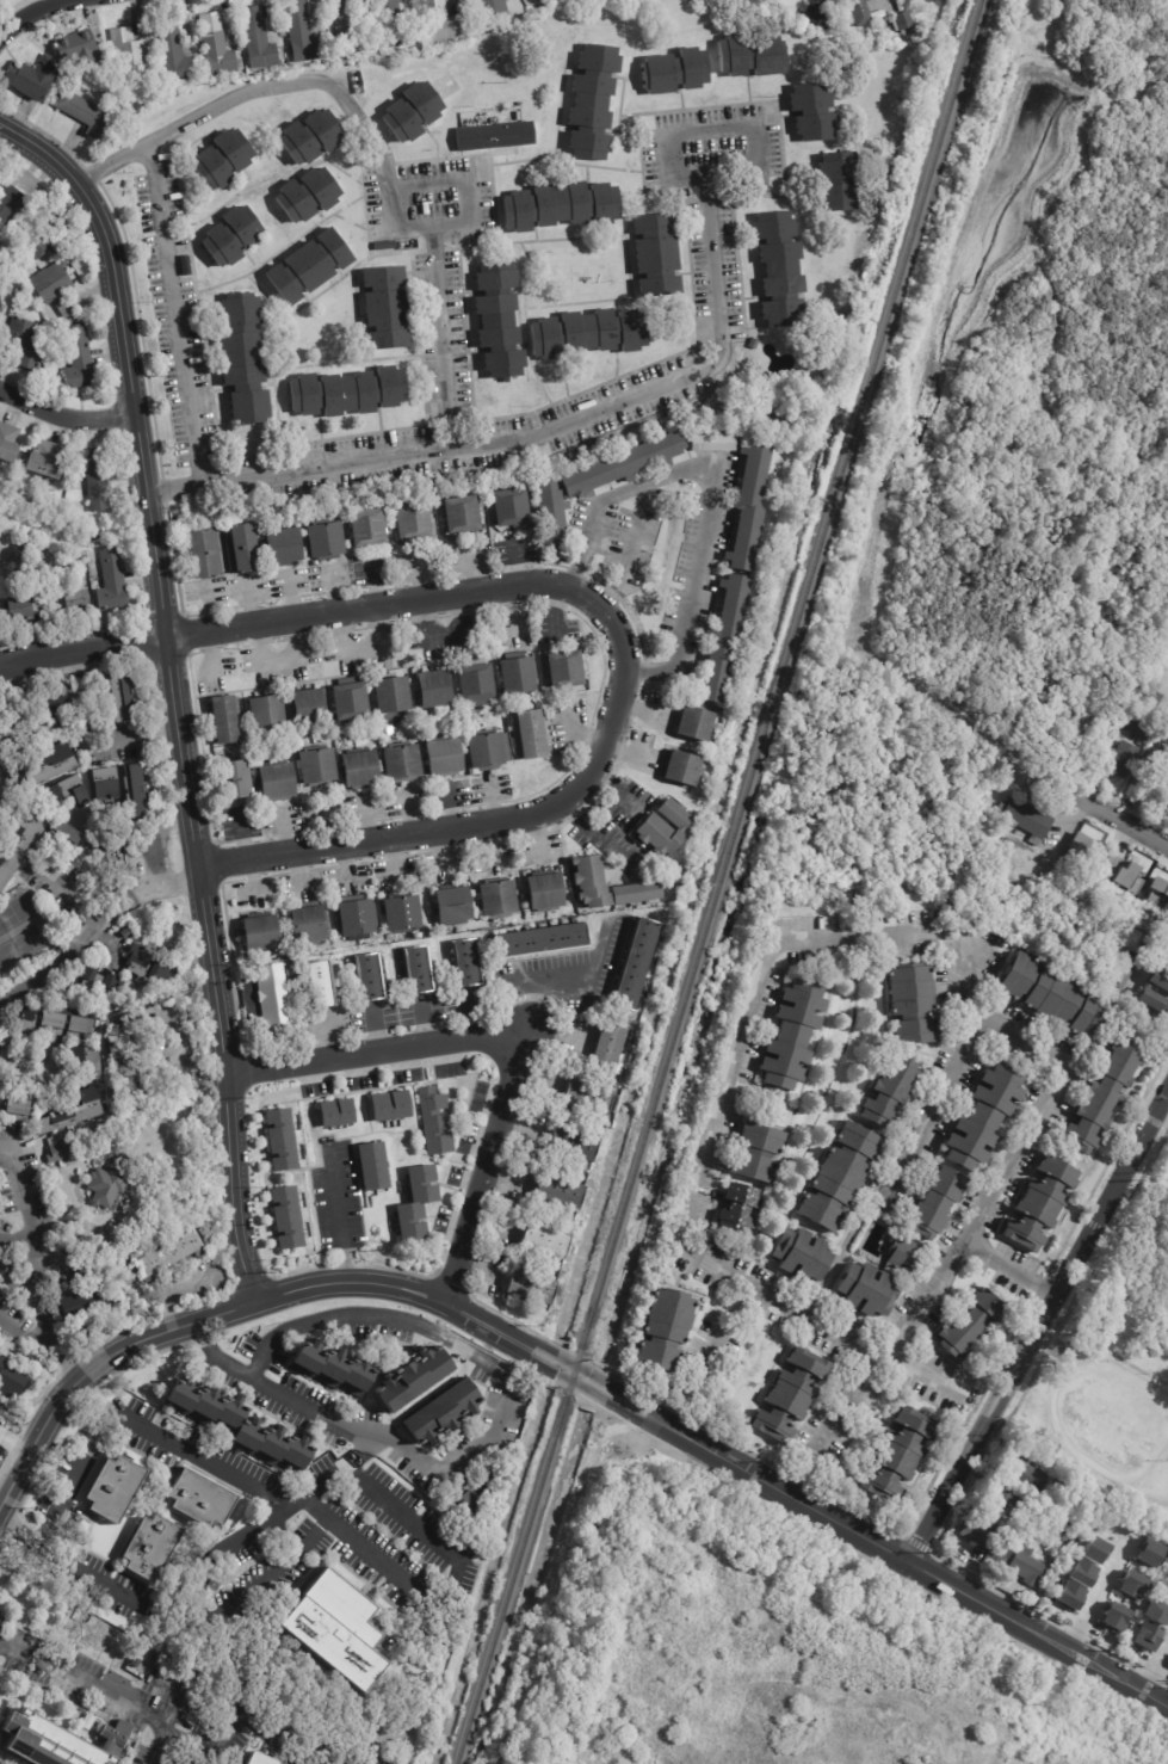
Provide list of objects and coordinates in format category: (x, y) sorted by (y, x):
building: (533, 0)
building: (488, 8)
building: (857, 11)
road: (29, 13)
building: (437, 21)
building: (389, 23)
building: (344, 26)
building: (913, 29)
building: (298, 31)
building: (254, 37)
building: (212, 43)
building: (234, 45)
building: (78, 48)
building: (125, 49)
building: (167, 49)
building: (749, 53)
building: (674, 70)
building: (30, 76)
building: (591, 101)
building: (412, 111)
building: (809, 113)
building: (84, 115)
road: (357, 116)
building: (493, 135)
building: (310, 136)
building: (221, 159)
building: (833, 183)
building: (307, 193)
building: (12, 205)
building: (561, 205)
building: (231, 235)
building: (36, 238)
building: (385, 245)
building: (654, 255)
building: (184, 265)
building: (309, 265)
building: (780, 269)
building: (55, 288)
road: (116, 296)
building: (1, 306)
building: (388, 308)
building: (496, 320)
building: (589, 333)
road: (441, 337)
building: (25, 344)
building: (753, 344)
building: (81, 358)
building: (245, 358)
building: (346, 393)
road: (66, 415)
road: (519, 437)
building: (8, 443)
building: (709, 444)
building: (47, 461)
building: (620, 464)
building: (97, 479)
road: (177, 483)
road: (712, 493)
building: (746, 507)
building: (503, 510)
building: (548, 513)
building: (458, 514)
building: (409, 522)
road: (153, 528)
building: (363, 530)
road: (635, 533)
building: (319, 542)
building: (6, 547)
building: (274, 548)
building: (235, 549)
building: (199, 554)
building: (115, 580)
building: (635, 585)
building: (25, 590)
building: (75, 600)
road: (591, 600)
building: (24, 610)
building: (721, 637)
road: (282, 665)
building: (563, 670)
building: (515, 678)
building: (474, 685)
building: (432, 689)
building: (391, 697)
building: (128, 699)
building: (58, 702)
building: (346, 704)
building: (308, 708)
building: (265, 715)
building: (223, 721)
building: (1130, 723)
building: (422, 724)
building: (694, 724)
building: (335, 735)
building: (529, 735)
road: (135, 736)
building: (233, 751)
building: (482, 753)
building: (439, 757)
building: (1118, 760)
building: (398, 764)
building: (314, 767)
building: (50, 769)
building: (682, 769)
building: (354, 770)
building: (375, 770)
building: (230, 781)
building: (272, 782)
building: (1151, 782)
building: (105, 784)
building: (69, 789)
building: (138, 792)
building: (1166, 802)
building: (1026, 820)
road: (1124, 821)
road: (1064, 824)
building: (661, 829)
building: (66, 837)
road: (155, 838)
building: (21, 843)
building: (119, 855)
building: (1102, 862)
railway: (719, 882)
building: (586, 884)
building: (1157, 890)
road: (72, 892)
building: (539, 894)
building: (492, 901)
building: (773, 903)
building: (450, 907)
building: (398, 915)
building: (352, 920)
road: (205, 921)
road: (92, 924)
building: (303, 927)
building: (125, 933)
building: (255, 936)
building: (542, 943)
building: (1161, 949)
building: (635, 963)
building: (459, 966)
building: (148, 967)
building: (410, 973)
building: (1121, 973)
road: (579, 979)
building: (361, 980)
building: (97, 983)
building: (1155, 983)
building: (313, 987)
building: (1052, 995)
building: (266, 998)
road: (977, 1001)
building: (1152, 1001)
road: (543, 1004)
building: (913, 1009)
building: (60, 1022)
road: (519, 1029)
building: (790, 1040)
building: (123, 1044)
building: (607, 1049)
road: (179, 1051)
building: (91, 1063)
building: (128, 1066)
road: (1050, 1087)
building: (134, 1090)
building: (891, 1091)
building: (1104, 1096)
building: (586, 1098)
building: (19, 1106)
building: (388, 1106)
building: (73, 1112)
building: (334, 1112)
building: (985, 1117)
building: (433, 1123)
road: (712, 1124)
building: (279, 1141)
building: (570, 1148)
building: (62, 1152)
building: (758, 1152)
building: (370, 1164)
building: (840, 1177)
building: (107, 1184)
building: (557, 1194)
building: (935, 1203)
building: (414, 1204)
building: (1040, 1204)
building: (739, 1209)
road: (336, 1211)
road: (31, 1214)
building: (284, 1219)
building: (542, 1242)
road: (19, 1251)
building: (801, 1257)
building: (163, 1258)
building: (901, 1258)
road: (1012, 1265)
road: (42, 1281)
building: (530, 1288)
building: (869, 1290)
road: (440, 1300)
building: (86, 1303)
road: (44, 1318)
building: (969, 1324)
road: (1038, 1325)
building: (665, 1332)
road: (26, 1340)
road: (520, 1362)
road: (494, 1364)
building: (329, 1371)
road: (691, 1373)
building: (408, 1375)
building: (10, 1382)
building: (789, 1398)
building: (445, 1413)
building: (0, 1423)
building: (241, 1426)
building: (52, 1448)
building: (897, 1457)
road: (78, 1461)
road: (211, 1464)
building: (1167, 1466)
building: (1024, 1473)
road: (320, 1482)
building: (115, 1488)
building: (999, 1498)
building: (203, 1499)
building: (464, 1501)
road: (258, 1524)
building: (984, 1542)
building: (150, 1549)
building: (1094, 1549)
building: (1149, 1554)
building: (1167, 1559)
road: (68, 1560)
building: (1022, 1569)
road: (259, 1573)
building: (1082, 1573)
building: (1131, 1584)
road: (194, 1591)
building: (1069, 1595)
road: (1099, 1597)
building: (1155, 1612)
road: (163, 1614)
building: (1114, 1616)
building: (328, 1624)
road: (1039, 1633)
building: (1145, 1636)
building: (157, 1655)
road: (1155, 1666)
road: (186, 1677)
road: (101, 1691)
road: (260, 1726)
building: (58, 1740)
building: (258, 1758)

